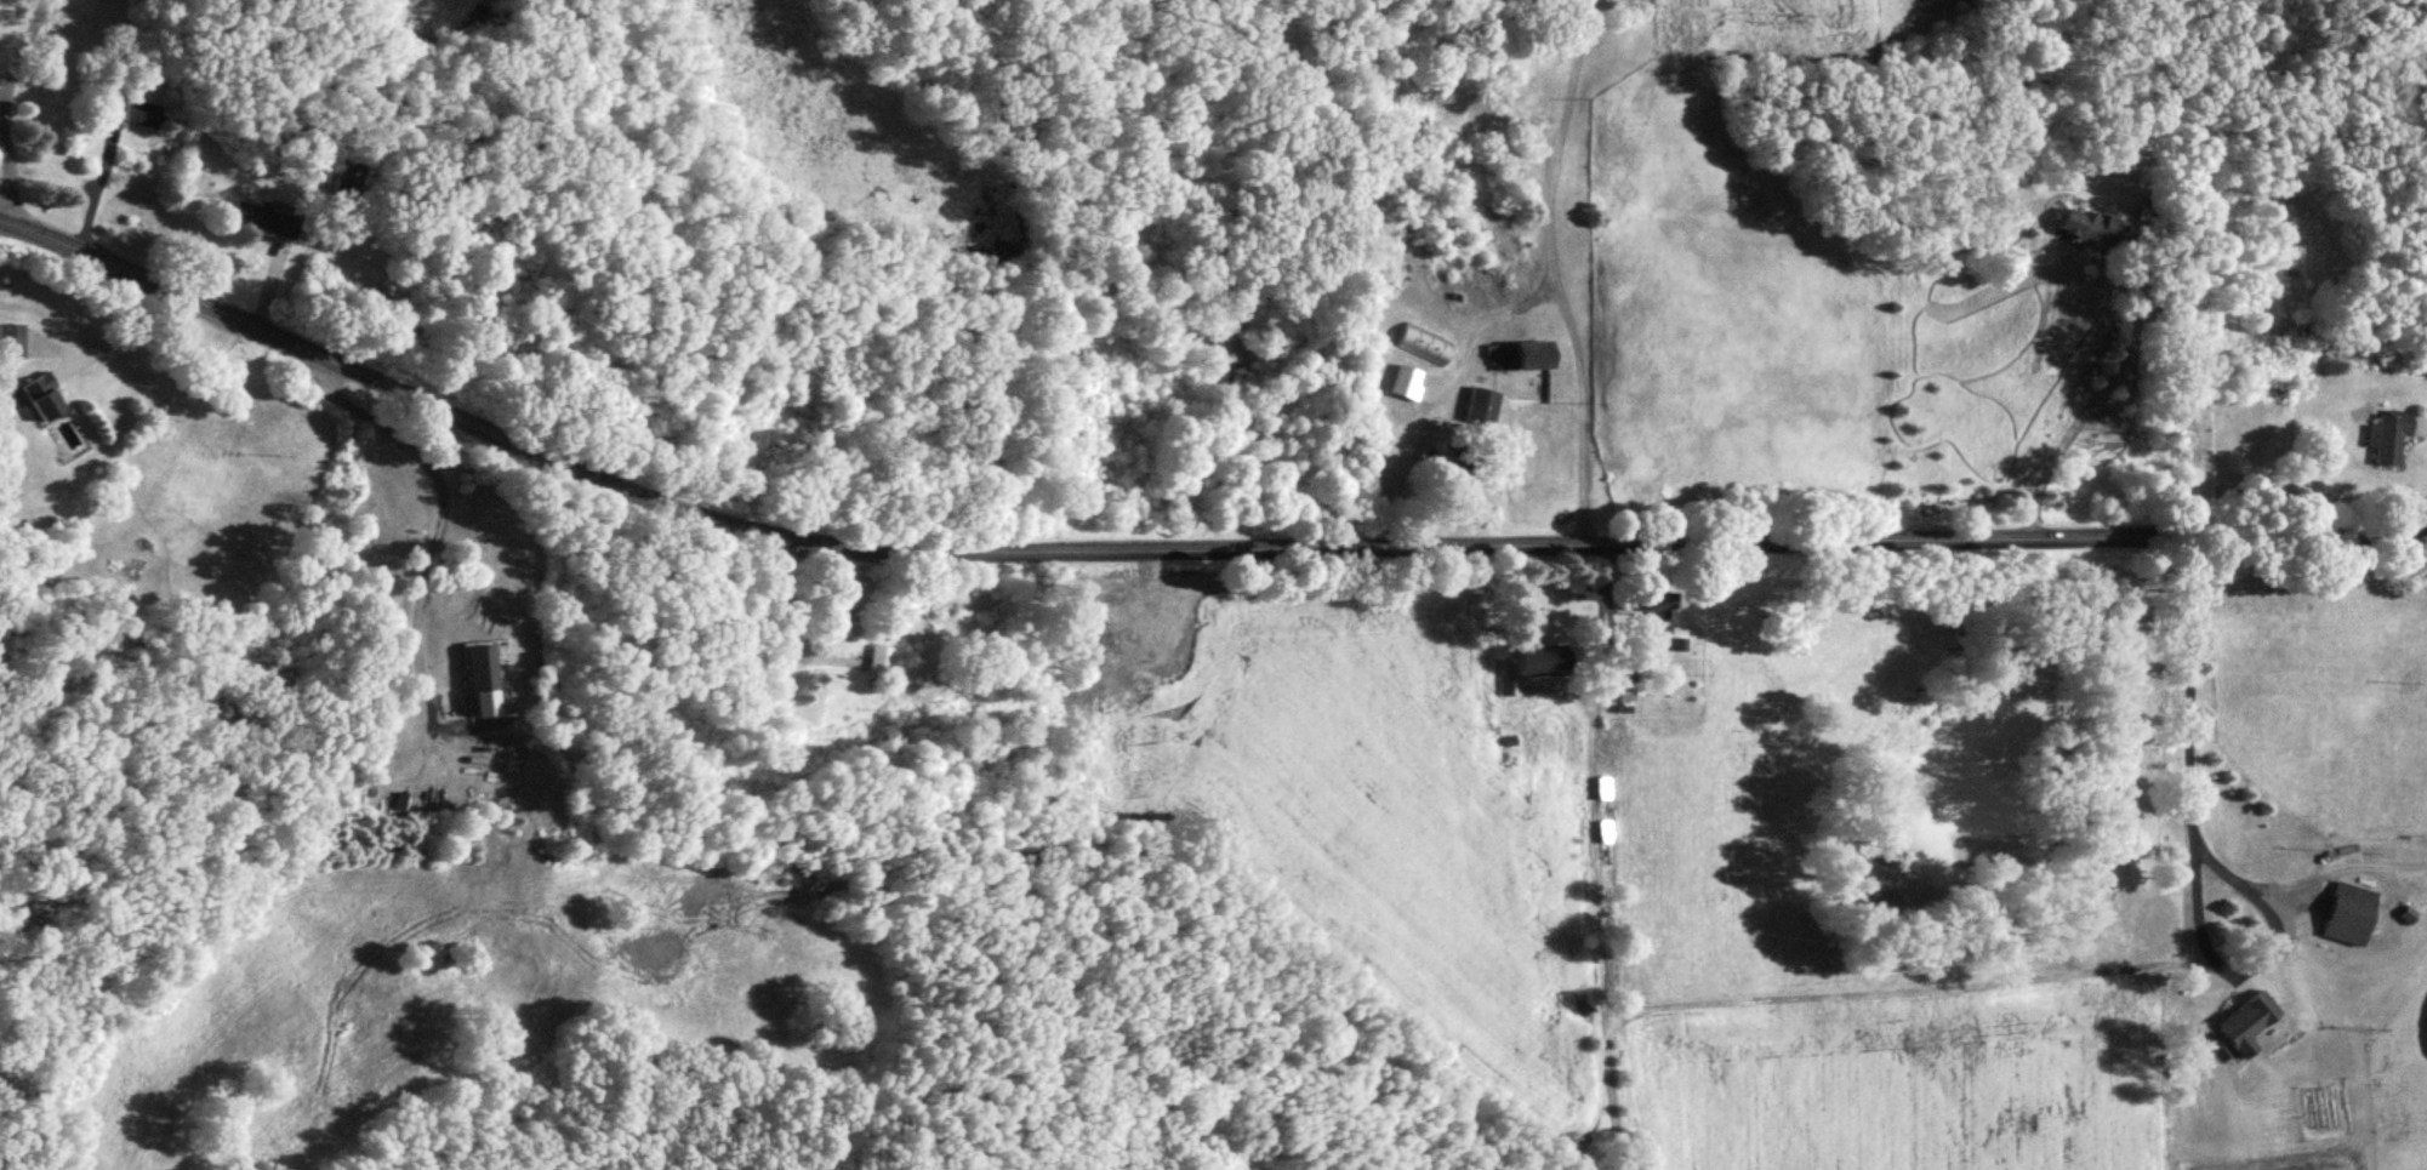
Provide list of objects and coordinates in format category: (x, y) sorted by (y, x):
road: (16, 47)
building: (131, 113)
road: (4, 173)
road: (93, 183)
building: (261, 222)
building: (2090, 230)
road: (1555, 270)
building: (376, 307)
road: (130, 331)
building: (10, 346)
building: (1425, 348)
building: (1532, 359)
building: (1405, 387)
road: (1446, 389)
road: (2096, 393)
building: (40, 403)
building: (1483, 411)
building: (2389, 441)
road: (433, 521)
road: (1181, 544)
building: (1654, 617)
building: (828, 628)
building: (1122, 628)
building: (879, 666)
building: (1533, 666)
building: (483, 673)
building: (503, 758)
road: (2188, 815)
building: (2348, 919)
road: (2241, 976)
building: (2244, 1025)

